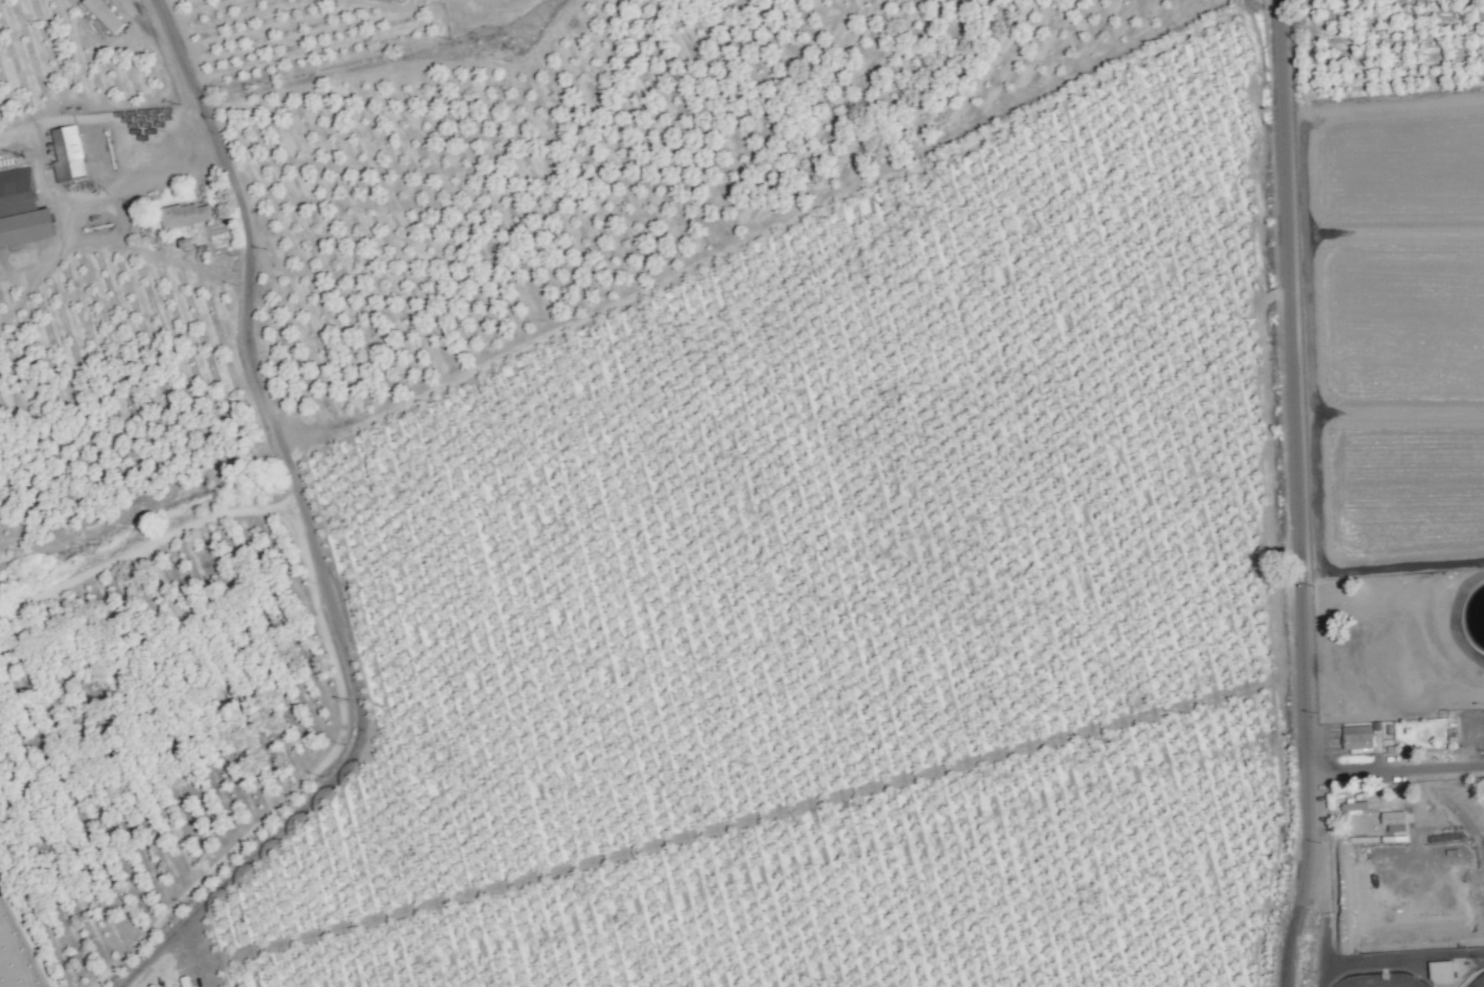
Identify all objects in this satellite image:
road: (163, 6)
building: (105, 14)
building: (68, 154)
building: (22, 210)
building: (184, 216)
crop: (658, 491)
road: (1307, 493)
road: (308, 532)
building: (1357, 738)
road: (1400, 771)
building: (1353, 807)
building: (1393, 821)
road: (1296, 907)
road: (1402, 960)
building: (1441, 972)

